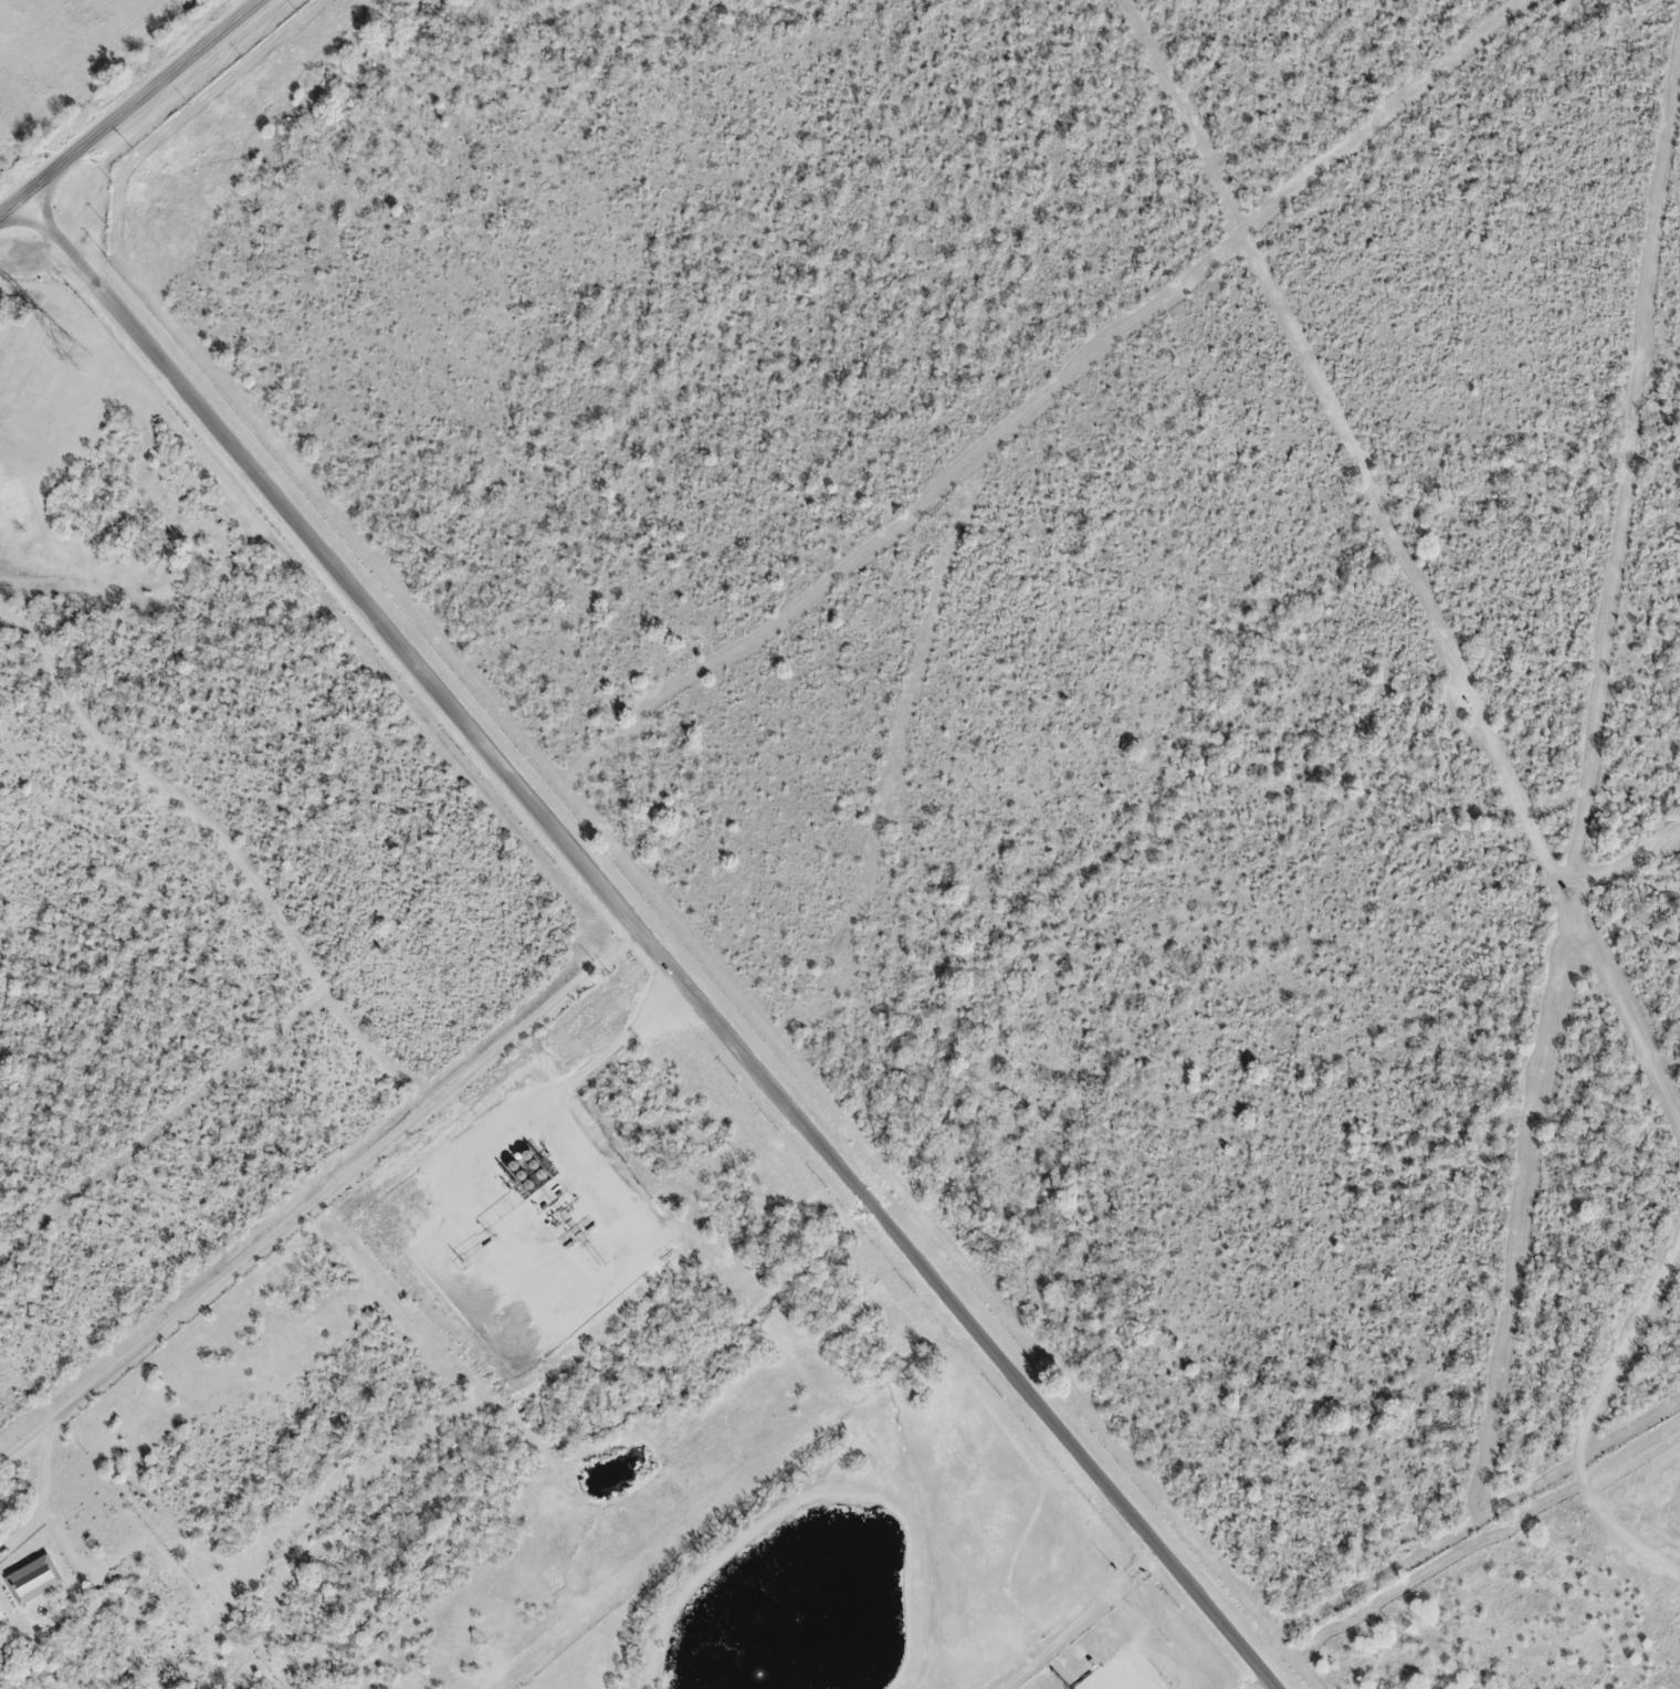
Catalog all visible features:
road: (132, 109)
power tower: (74, 364)
road: (658, 936)
road: (610, 1037)
road: (312, 1202)
road: (629, 1219)
road: (1272, 1688)

